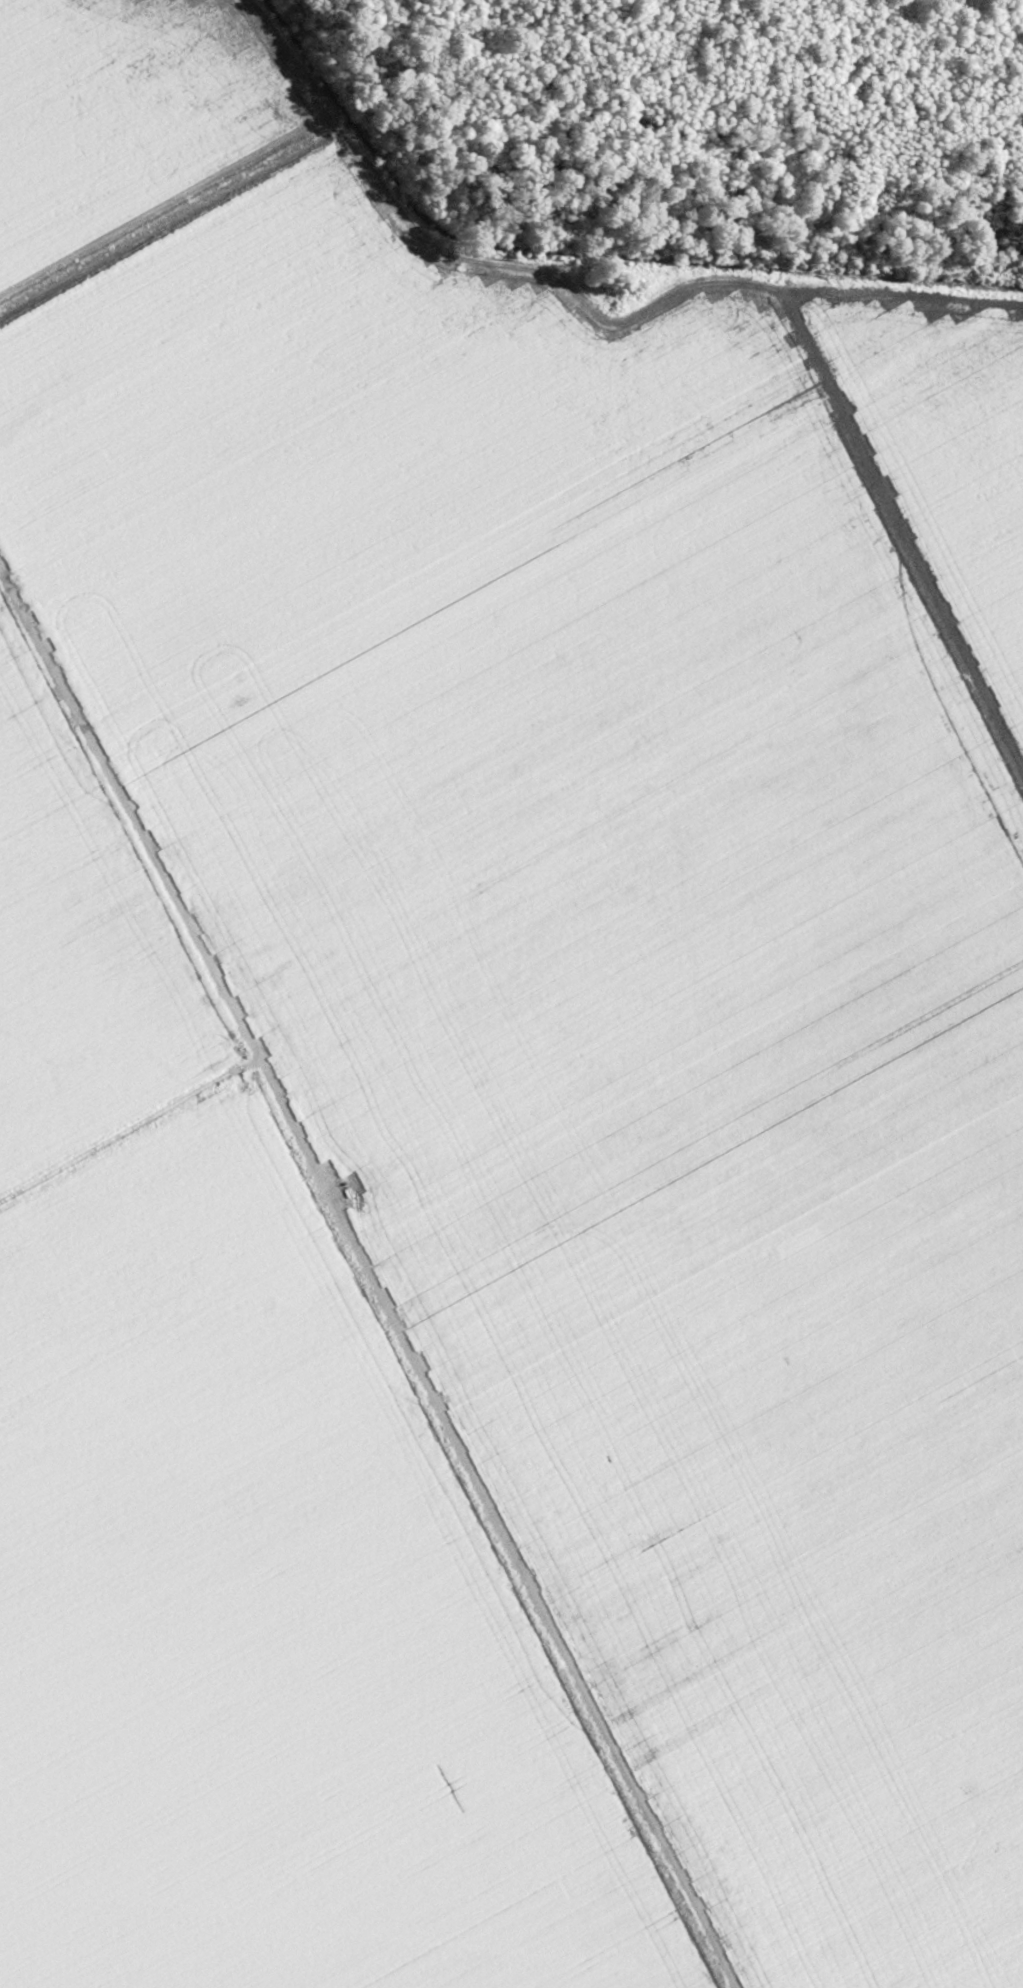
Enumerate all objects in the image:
road: (325, 807)

